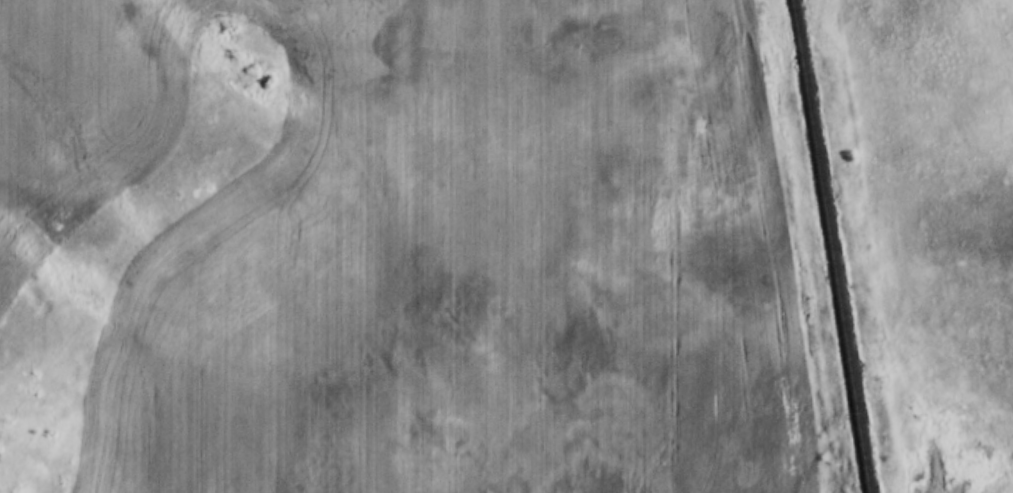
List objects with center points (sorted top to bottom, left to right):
railway: (834, 246)

